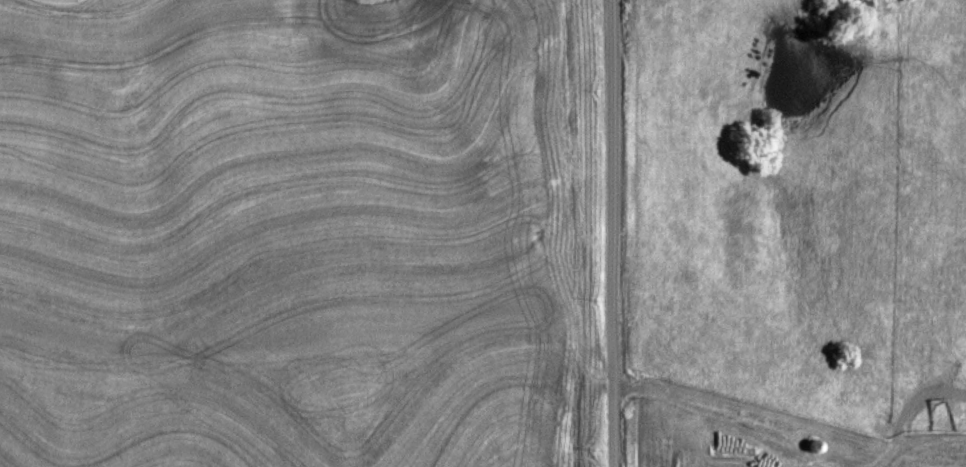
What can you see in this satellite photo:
road: (617, 233)

